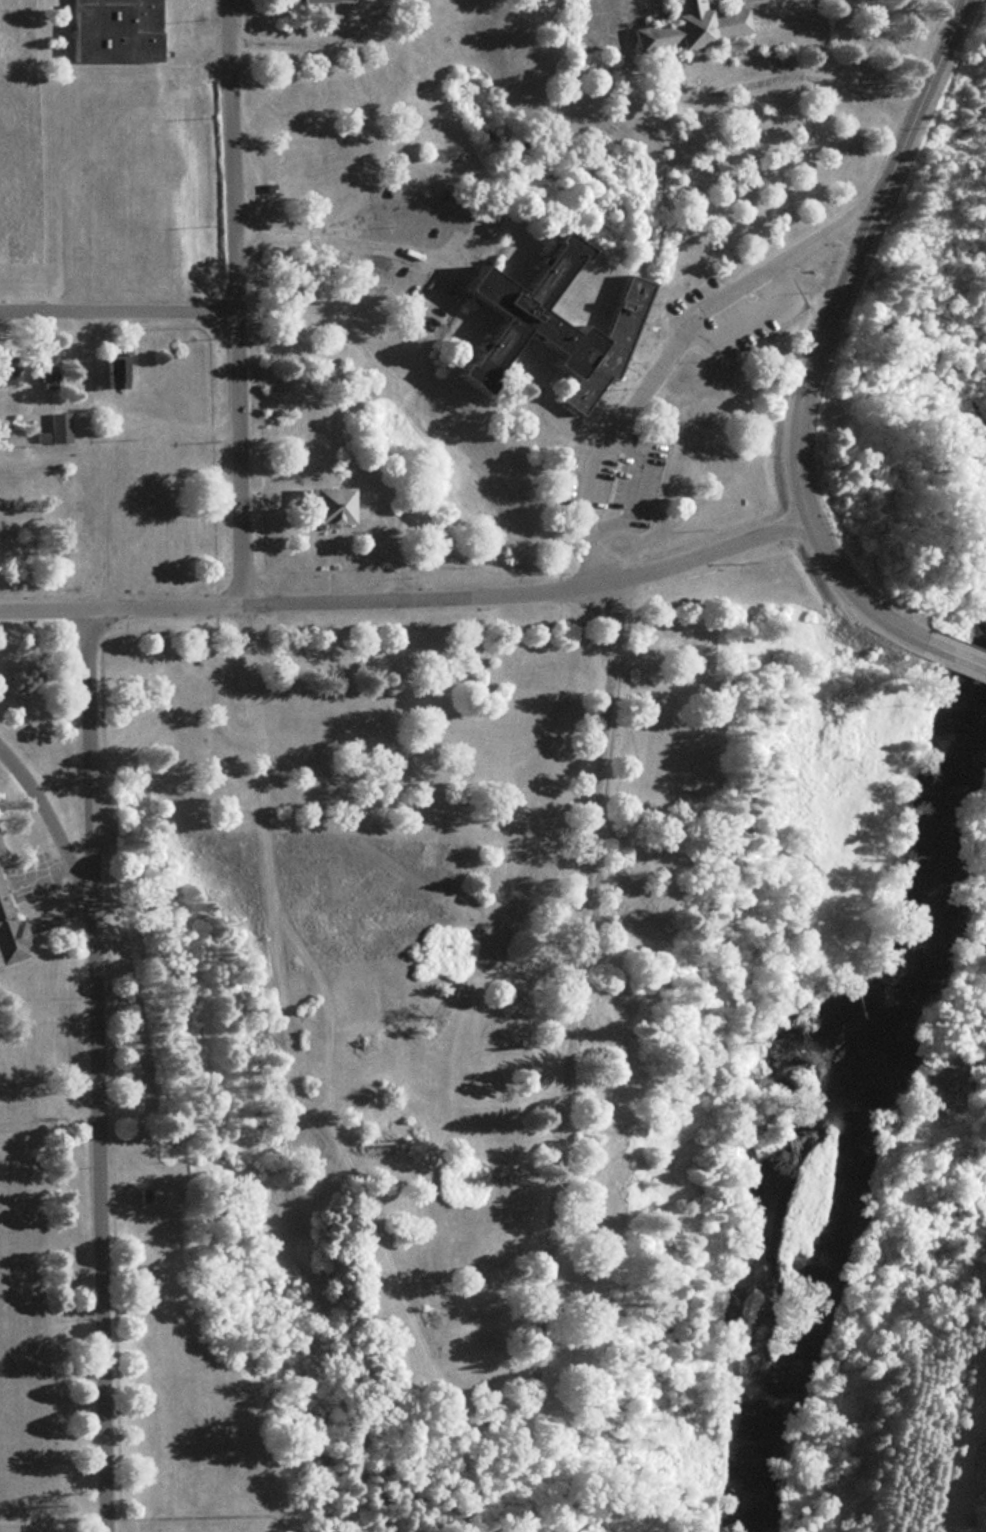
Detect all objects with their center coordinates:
building: (310, 0)
building: (110, 29)
road: (312, 43)
road: (346, 239)
road: (234, 301)
road: (117, 308)
building: (547, 323)
road: (822, 332)
road: (658, 353)
building: (42, 365)
building: (108, 370)
building: (5, 374)
building: (56, 426)
building: (9, 435)
building: (141, 453)
road: (86, 459)
building: (321, 503)
road: (408, 596)
road: (951, 653)
building: (331, 707)
building: (530, 809)
road: (49, 822)
building: (522, 882)
building: (9, 935)
building: (512, 983)
road: (574, 991)
road: (95, 1069)
building: (442, 1076)
river: (810, 1108)
building: (596, 1205)
building: (483, 1281)
building: (477, 1378)

